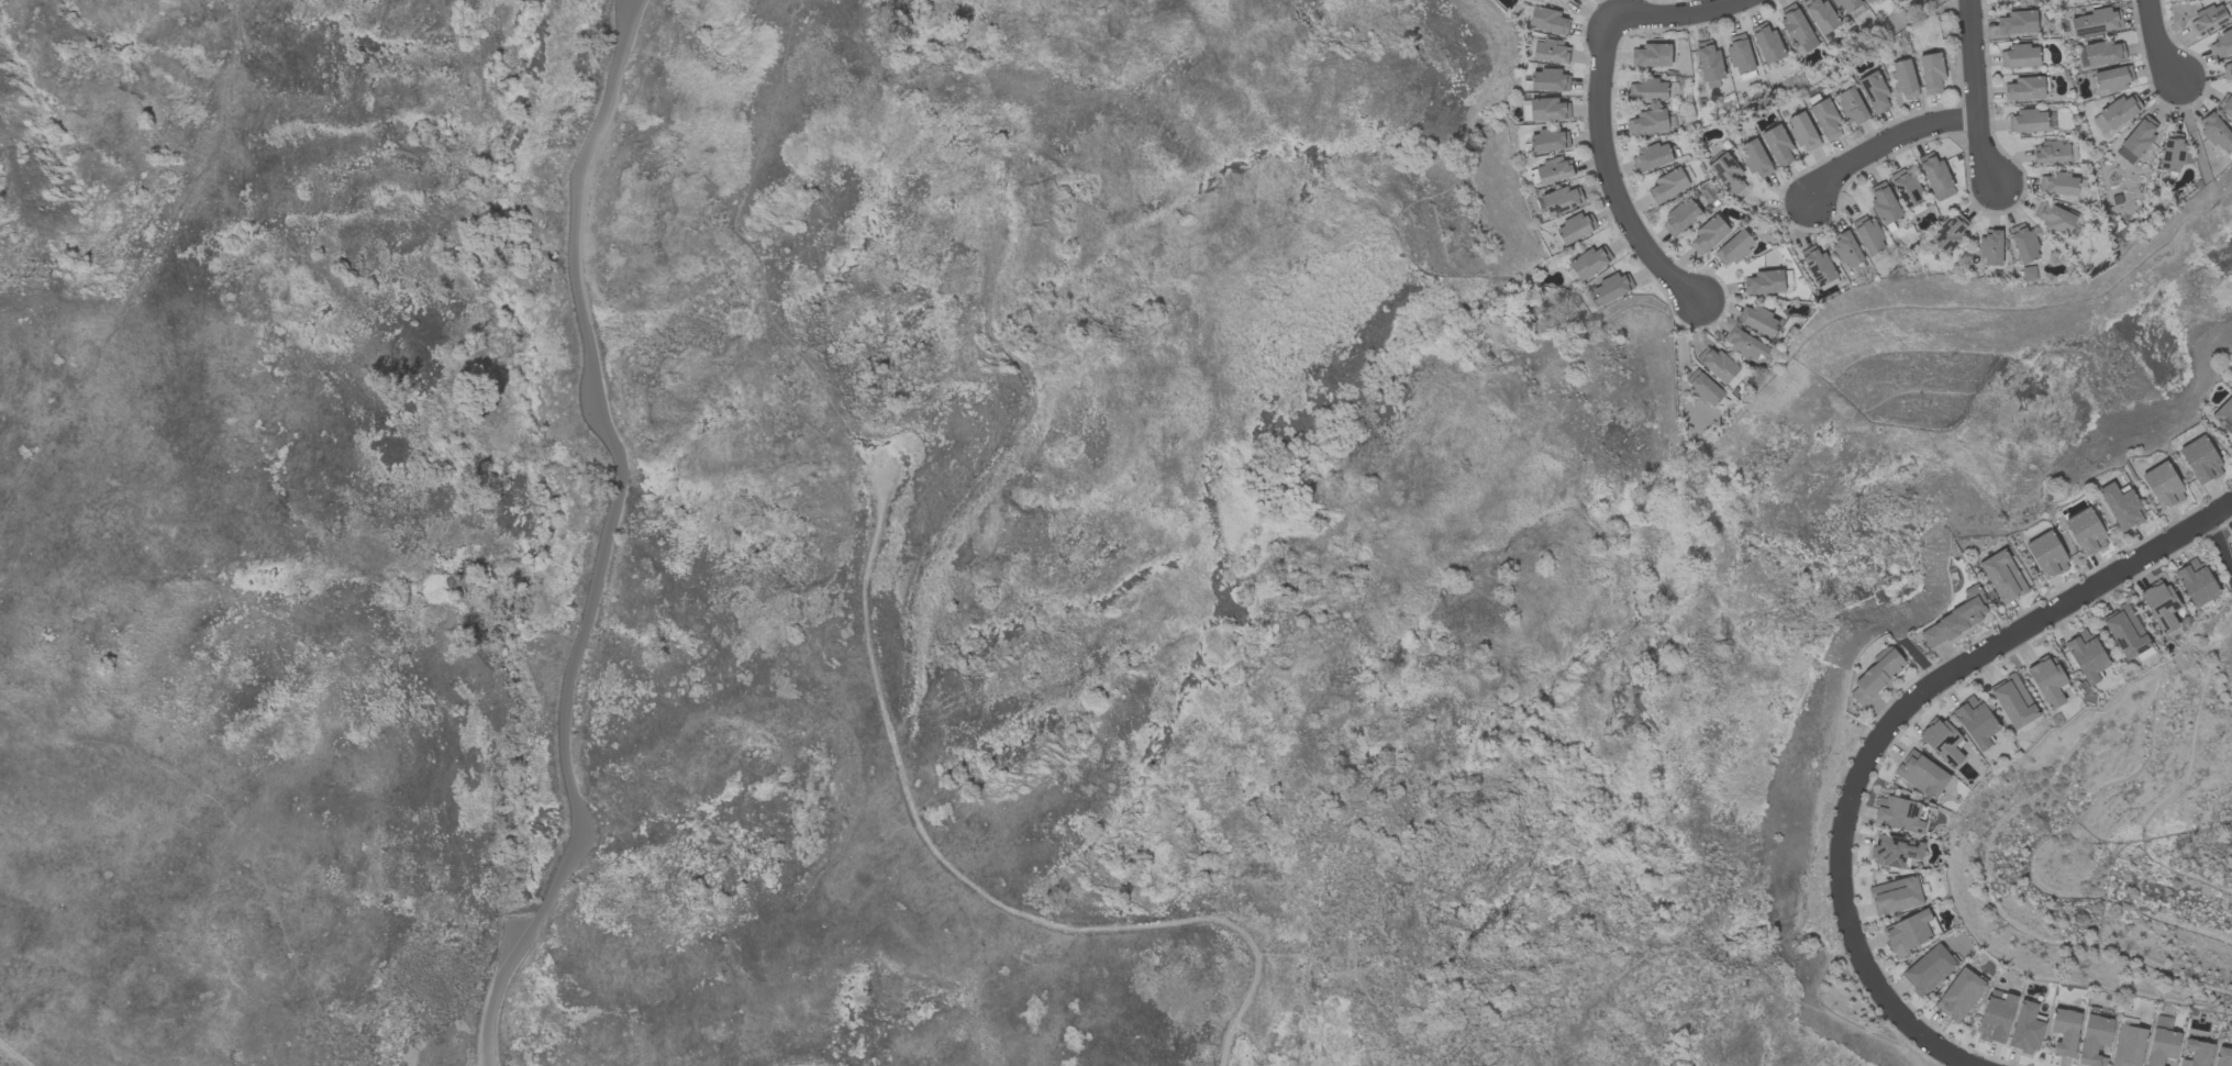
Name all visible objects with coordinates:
building: (2005, 0)
building: (1866, 1)
building: (1846, 4)
building: (1820, 15)
road: (1680, 16)
building: (2208, 20)
building: (1547, 21)
building: (2017, 22)
building: (2097, 22)
building: (1797, 29)
road: (2156, 42)
building: (1766, 43)
building: (2221, 45)
building: (1551, 52)
building: (2100, 54)
building: (1651, 55)
building: (2020, 56)
building: (1740, 57)
building: (1709, 63)
building: (2227, 71)
building: (1931, 73)
building: (1903, 78)
building: (2113, 78)
building: (1548, 81)
building: (2024, 89)
building: (1647, 90)
building: (1874, 92)
road: (1977, 96)
building: (2225, 106)
building: (1851, 107)
building: (1547, 110)
building: (2116, 114)
building: (1825, 119)
building: (2028, 121)
building: (1647, 123)
building: (2214, 131)
building: (1802, 132)
building: (2136, 140)
building: (1548, 141)
road: (1886, 144)
building: (1777, 145)
building: (2050, 153)
building: (2174, 153)
building: (1651, 158)
building: (1755, 158)
building: (1554, 170)
building: (1726, 174)
building: (1935, 177)
road: (1609, 178)
building: (2057, 184)
building: (1667, 186)
building: (1906, 188)
building: (1557, 201)
power tower: (1019, 202)
building: (1883, 203)
building: (1679, 218)
building: (2054, 218)
building: (1575, 227)
building: (1708, 234)
building: (1950, 234)
building: (1867, 235)
building: (2024, 245)
building: (1733, 248)
building: (1990, 248)
building: (1846, 249)
building: (1589, 263)
building: (1817, 266)
road: (147, 268)
building: (2028, 273)
building: (1764, 282)
building: (1612, 288)
building: (1757, 320)
building: (1744, 345)
building: (1720, 367)
building: (1702, 388)
building: (2224, 415)
power tower: (879, 452)
building: (2200, 459)
road: (990, 479)
building: (2121, 507)
building: (2085, 532)
road: (601, 533)
building: (2231, 536)
building: (2045, 555)
building: (2002, 577)
building: (2195, 582)
building: (2159, 606)
building: (1955, 619)
building: (2125, 632)
building: (2086, 656)
road: (1976, 660)
building: (1876, 675)
building: (2046, 681)
building: (2013, 701)
building: (1975, 722)
building: (1942, 742)
building: (1921, 775)
building: (1898, 814)
road: (248, 846)
building: (1894, 851)
road: (958, 881)
building: (1895, 896)
building: (1909, 933)
building: (1929, 969)
building: (1959, 995)
power tower: (457, 1000)
road: (1888, 1001)
building: (1996, 1017)
building: (2025, 1030)
building: (2065, 1032)
building: (2095, 1040)
road: (1252, 1043)
building: (2128, 1046)
building: (2162, 1046)
building: (2197, 1053)
road: (12, 1055)
building: (2222, 1057)

